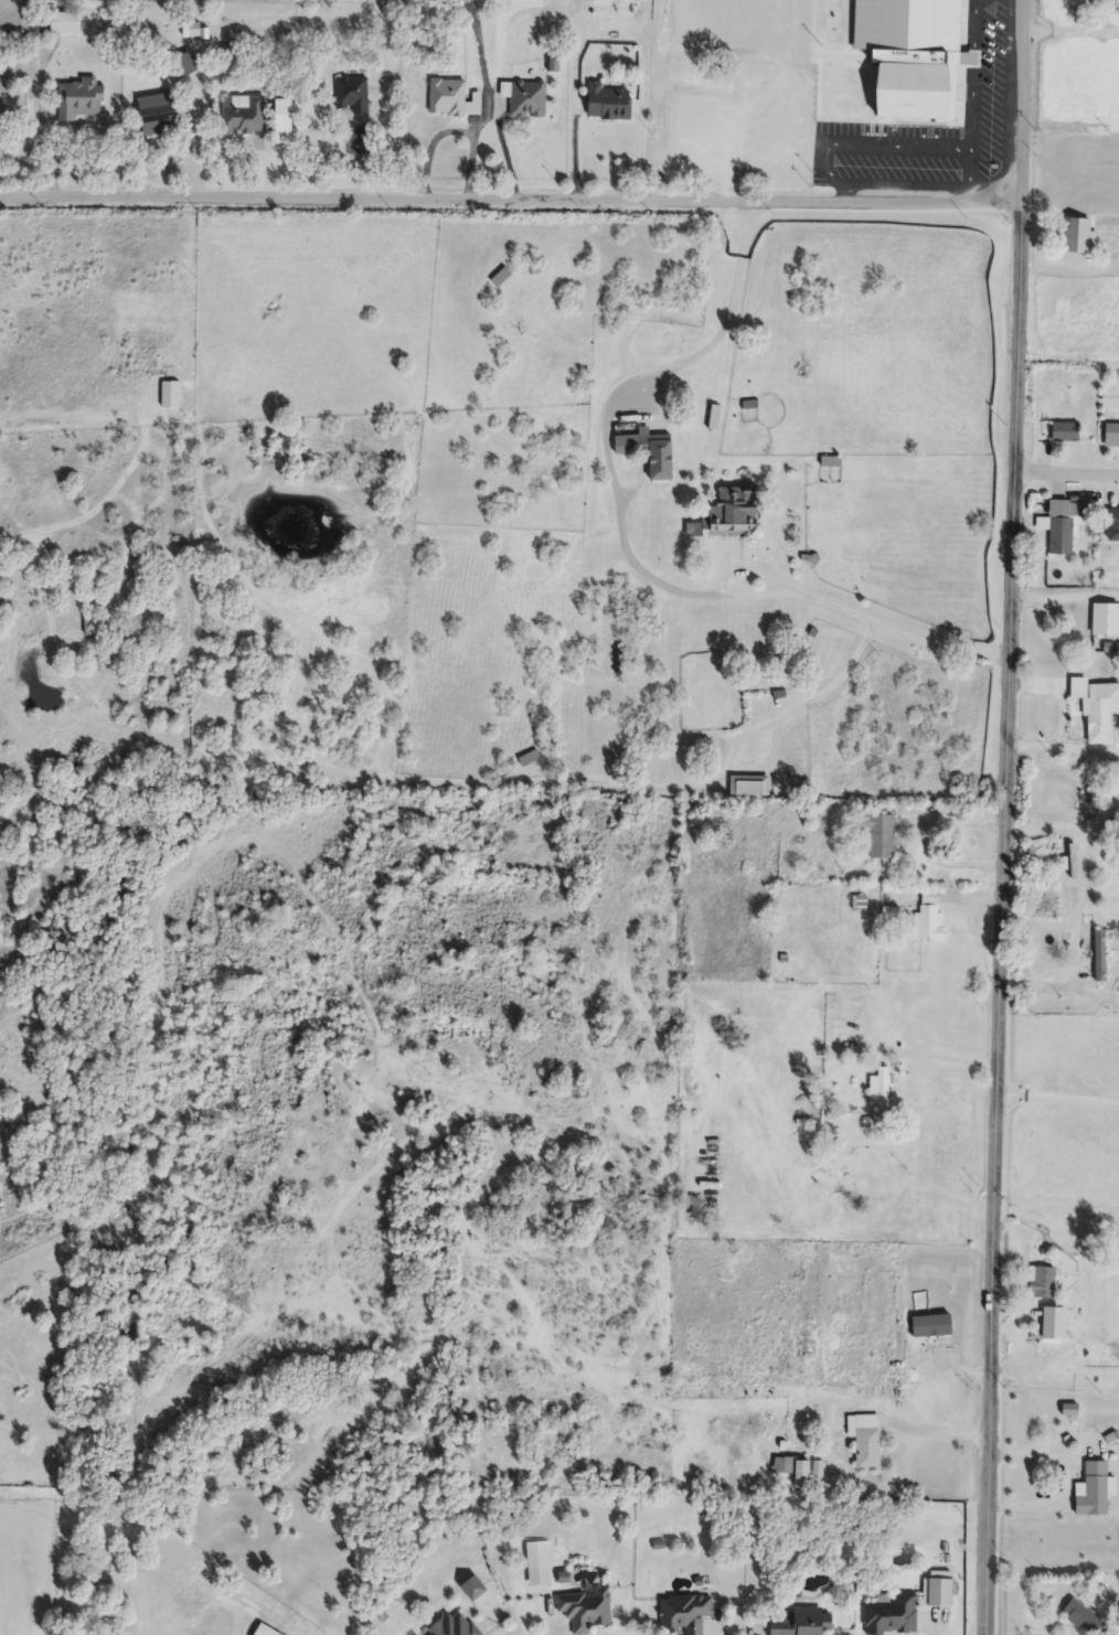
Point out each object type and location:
building: (466, 0)
building: (624, 1)
building: (64, 24)
road: (614, 30)
road: (1069, 31)
building: (909, 71)
building: (859, 83)
building: (353, 95)
road: (748, 98)
building: (451, 99)
road: (973, 99)
building: (527, 100)
building: (81, 101)
building: (608, 103)
building: (857, 110)
building: (158, 115)
building: (284, 116)
building: (245, 119)
building: (1075, 140)
road: (870, 143)
road: (510, 199)
building: (1075, 236)
building: (501, 278)
road: (725, 323)
building: (1066, 434)
building: (1111, 436)
building: (649, 452)
road: (1067, 473)
building: (727, 515)
building: (1113, 520)
building: (1058, 527)
road: (785, 592)
road: (1065, 599)
building: (1106, 620)
building: (89, 629)
building: (1097, 709)
road: (771, 722)
road: (1064, 748)
building: (530, 759)
building: (749, 787)
road: (1006, 817)
building: (878, 837)
road: (1080, 897)
building: (929, 923)
building: (1100, 958)
building: (881, 1091)
road: (1059, 1101)
building: (699, 1209)
building: (1043, 1284)
building: (924, 1337)
building: (1073, 1413)
road: (939, 1431)
building: (865, 1441)
building: (781, 1467)
building: (801, 1474)
road: (1064, 1477)
building: (1093, 1492)
building: (539, 1556)
building: (472, 1589)
building: (939, 1592)
building: (585, 1610)
building: (684, 1614)
building: (891, 1614)
building: (1084, 1618)
building: (801, 1623)
building: (452, 1626)

